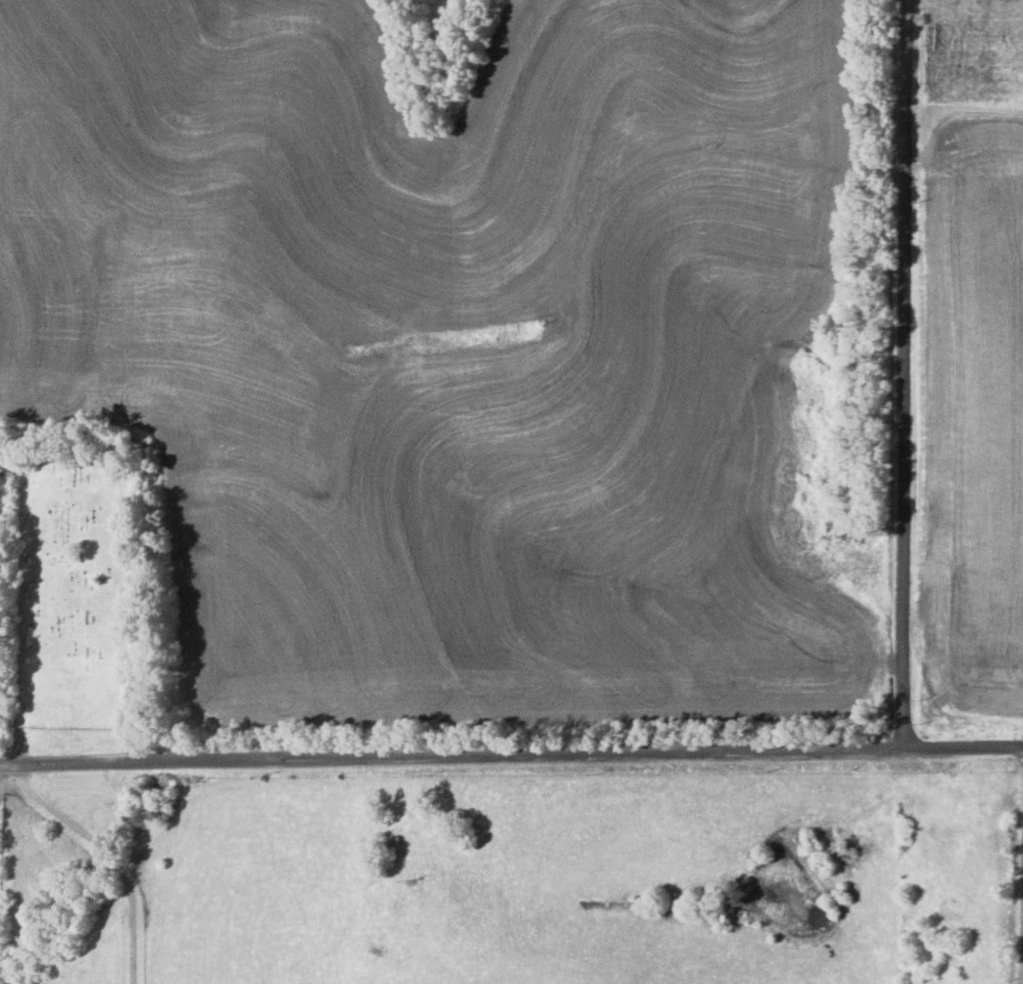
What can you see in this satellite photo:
road: (904, 374)
park: (73, 580)
road: (511, 748)
road: (110, 854)

